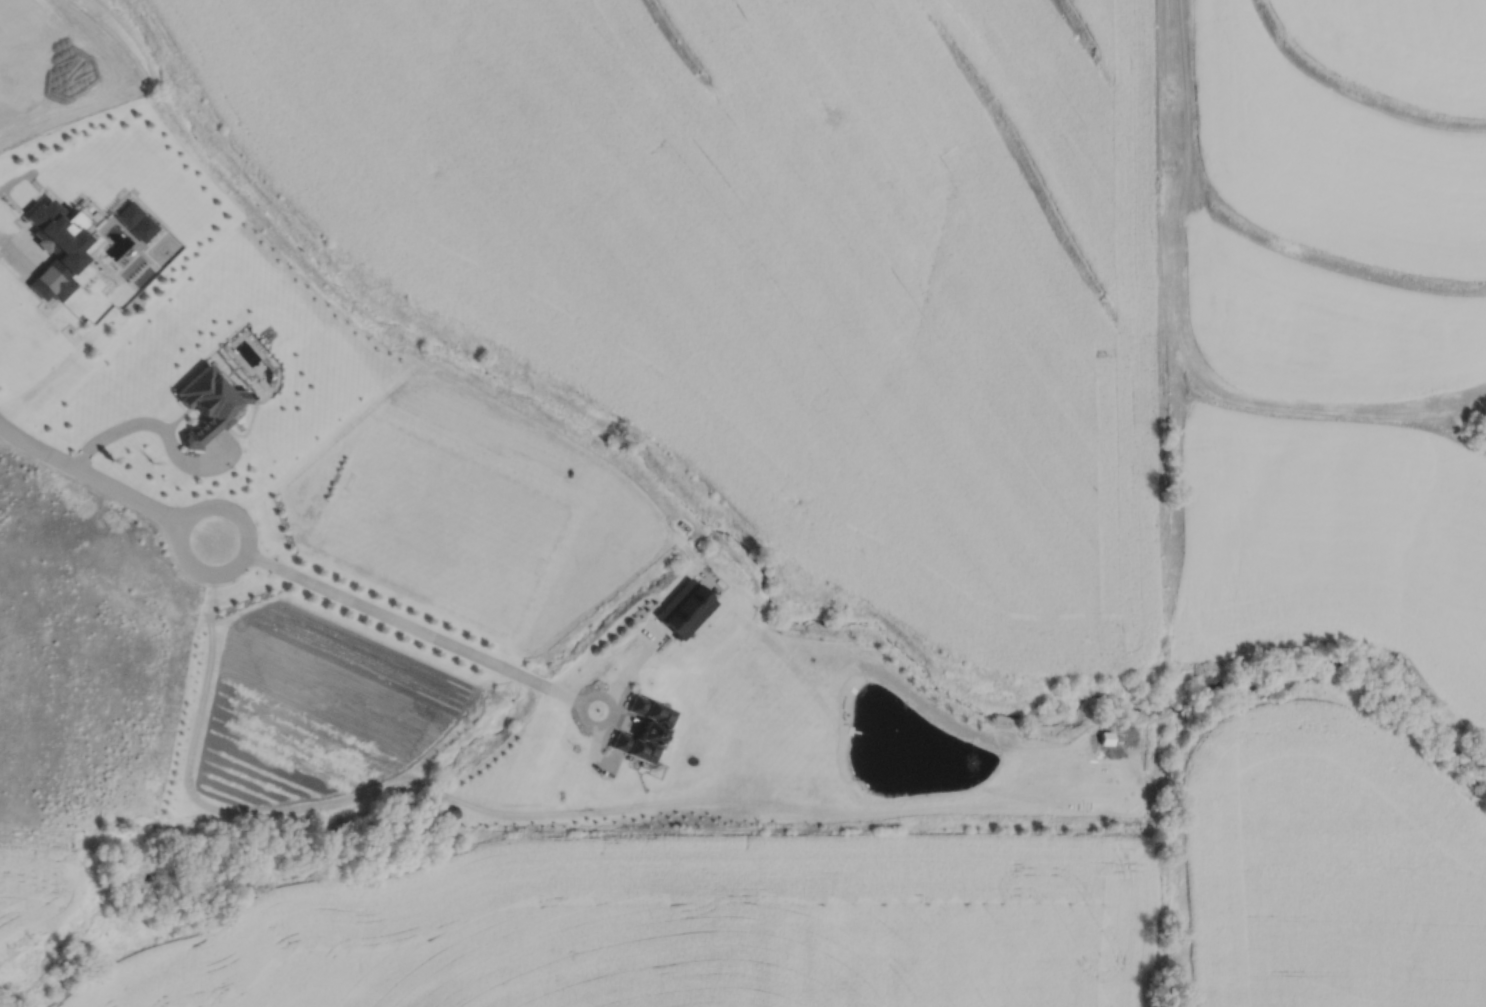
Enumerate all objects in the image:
road: (20, 247)
road: (150, 424)
road: (103, 488)
road: (402, 627)
building: (638, 730)
building: (447, 815)

